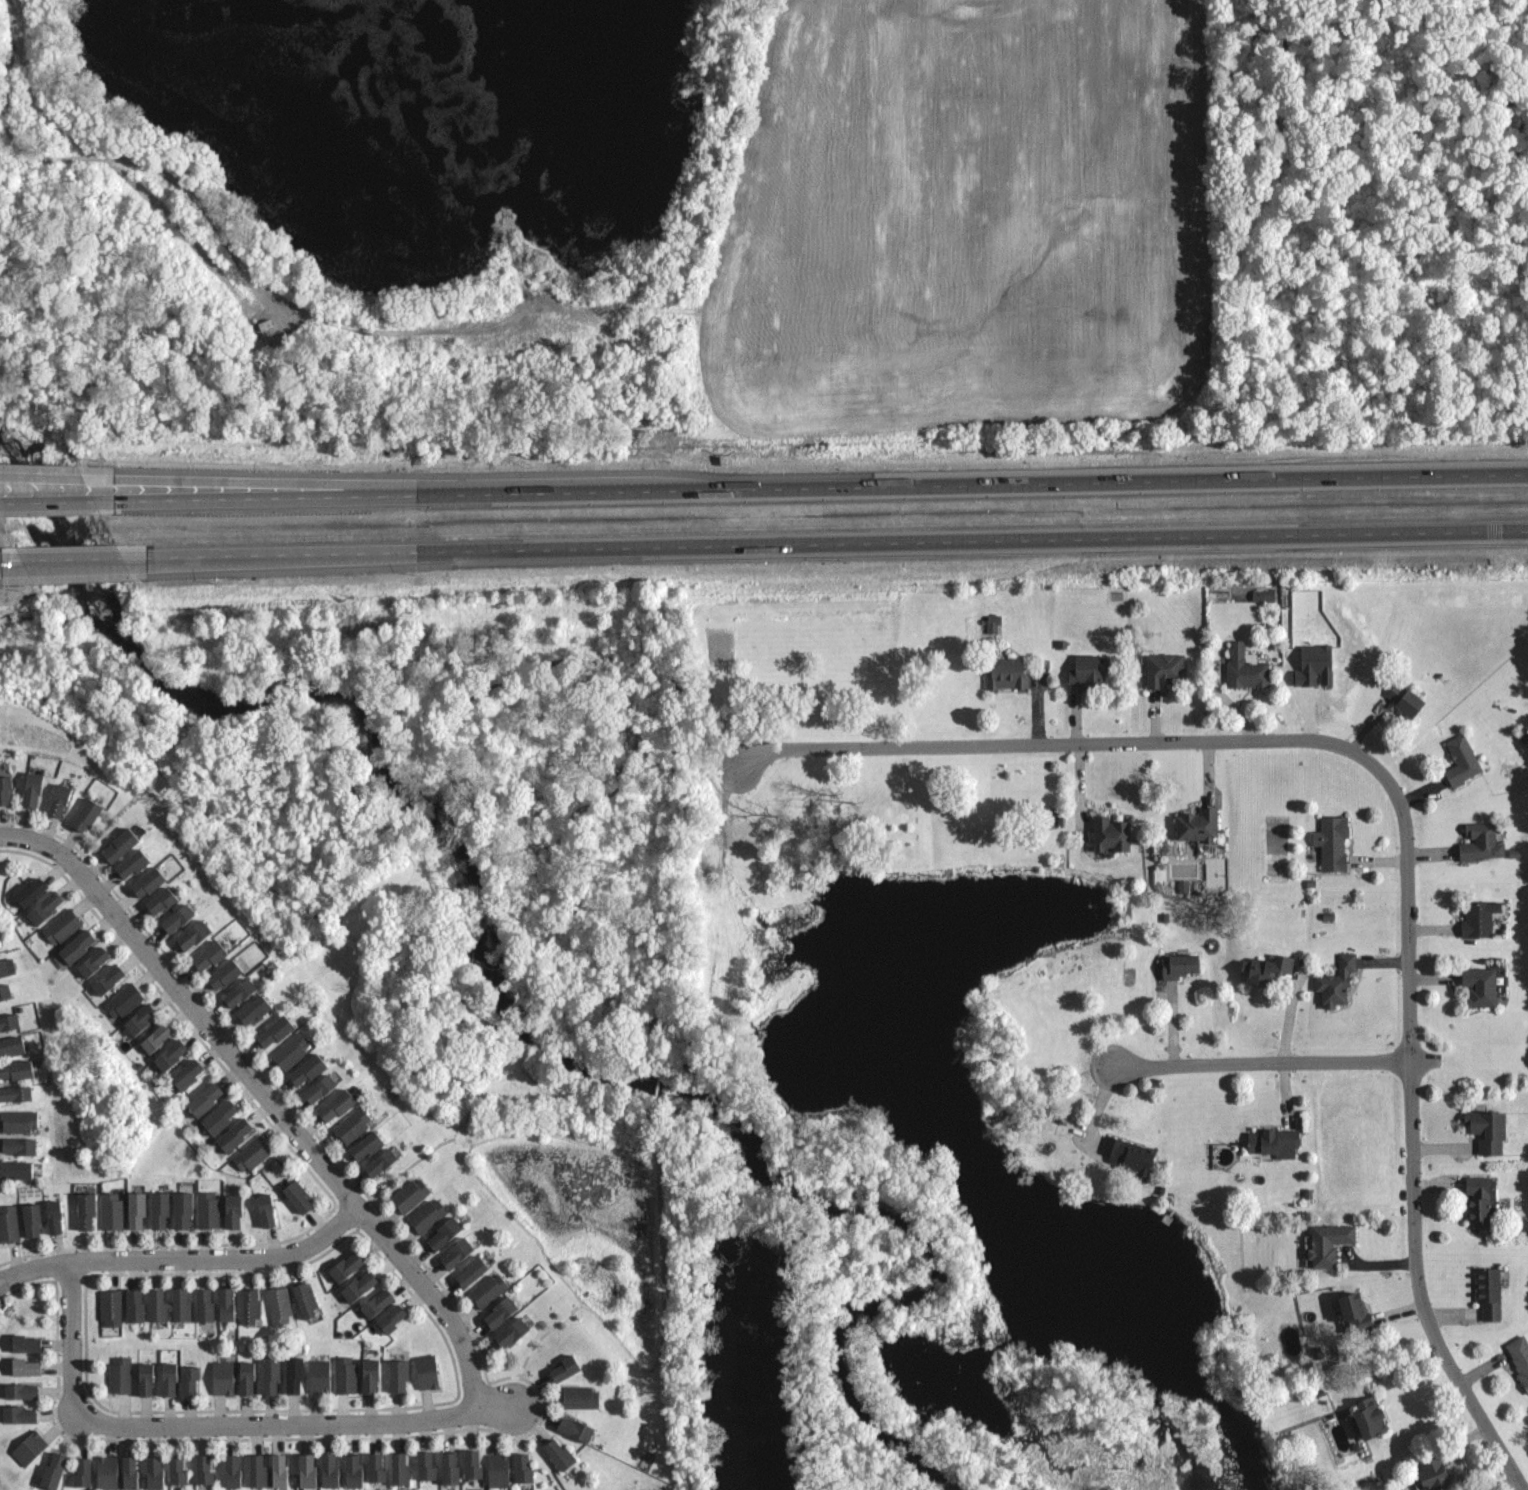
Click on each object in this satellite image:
road: (39, 478)
road: (410, 484)
road: (809, 488)
road: (45, 501)
road: (822, 543)
road: (67, 558)
road: (285, 558)
road: (9, 559)
road: (73, 567)
road: (12, 570)
building: (1263, 596)
building: (1314, 665)
building: (1245, 668)
building: (1163, 669)
building: (1085, 671)
building: (1005, 674)
building: (1404, 699)
building: (1460, 761)
building: (34, 786)
building: (5, 788)
building: (62, 797)
building: (87, 813)
road: (1402, 813)
building: (1196, 826)
building: (1110, 837)
building: (1331, 842)
building: (1482, 842)
building: (122, 843)
building: (1515, 854)
building: (135, 864)
building: (151, 882)
building: (1311, 884)
building: (1183, 886)
building: (27, 890)
building: (163, 901)
building: (45, 906)
building: (179, 917)
building: (1164, 918)
building: (1328, 918)
building: (1479, 918)
building: (61, 926)
building: (196, 936)
building: (80, 945)
building: (213, 955)
park: (580, 958)
building: (95, 962)
building: (1179, 966)
building: (5, 968)
building: (1265, 970)
building: (226, 973)
building: (110, 980)
building: (1336, 983)
building: (1486, 987)
building: (6, 990)
building: (242, 991)
building: (125, 999)
building: (255, 1009)
road: (1292, 1011)
building: (10, 1020)
building: (142, 1020)
building: (276, 1030)
building: (158, 1037)
building: (13, 1045)
building: (291, 1050)
building: (173, 1054)
road: (1261, 1063)
building: (14, 1067)
building: (307, 1069)
building: (187, 1075)
building: (322, 1088)
building: (15, 1093)
building: (205, 1098)
road: (267, 1099)
building: (338, 1105)
building: (219, 1117)
building: (15, 1119)
building: (354, 1124)
building: (1491, 1131)
building: (233, 1134)
building: (19, 1144)
building: (369, 1145)
building: (1273, 1145)
building: (250, 1153)
building: (1126, 1154)
building: (383, 1162)
building: (15, 1167)
road: (403, 1169)
building: (410, 1193)
building: (1308, 1194)
building: (300, 1196)
building: (1480, 1197)
building: (84, 1207)
building: (158, 1207)
building: (181, 1207)
building: (205, 1207)
building: (231, 1207)
building: (135, 1208)
building: (109, 1209)
building: (265, 1209)
building: (431, 1213)
building: (55, 1214)
building: (31, 1218)
building: (7, 1222)
building: (445, 1232)
building: (1325, 1245)
building: (461, 1250)
road: (185, 1260)
building: (347, 1264)
building: (475, 1269)
building: (360, 1285)
building: (488, 1288)
building: (1493, 1288)
building: (306, 1299)
building: (378, 1302)
building: (225, 1303)
building: (180, 1304)
building: (203, 1304)
building: (157, 1305)
building: (110, 1306)
building: (135, 1306)
building: (277, 1306)
building: (250, 1308)
building: (1357, 1311)
building: (502, 1312)
building: (393, 1318)
building: (513, 1332)
building: (27, 1341)
building: (1519, 1355)
building: (26, 1367)
building: (569, 1367)
building: (428, 1372)
building: (121, 1374)
building: (271, 1374)
building: (294, 1374)
building: (319, 1374)
building: (346, 1374)
building: (400, 1374)
building: (248, 1375)
building: (373, 1375)
building: (146, 1376)
building: (222, 1376)
building: (170, 1377)
building: (192, 1378)
building: (20, 1389)
building: (583, 1397)
building: (18, 1413)
building: (1373, 1418)
road: (216, 1426)
building: (580, 1430)
building: (28, 1448)
building: (564, 1452)
building: (428, 1464)
building: (476, 1464)
building: (379, 1466)
building: (527, 1467)
building: (53, 1468)
building: (205, 1468)
building: (355, 1468)
building: (402, 1468)
building: (452, 1468)
building: (234, 1469)
building: (281, 1469)
building: (105, 1470)
building: (132, 1470)
building: (156, 1470)
building: (258, 1470)
building: (332, 1470)
building: (501, 1470)
building: (1435, 1470)
building: (79, 1471)
building: (178, 1471)
building: (309, 1471)

